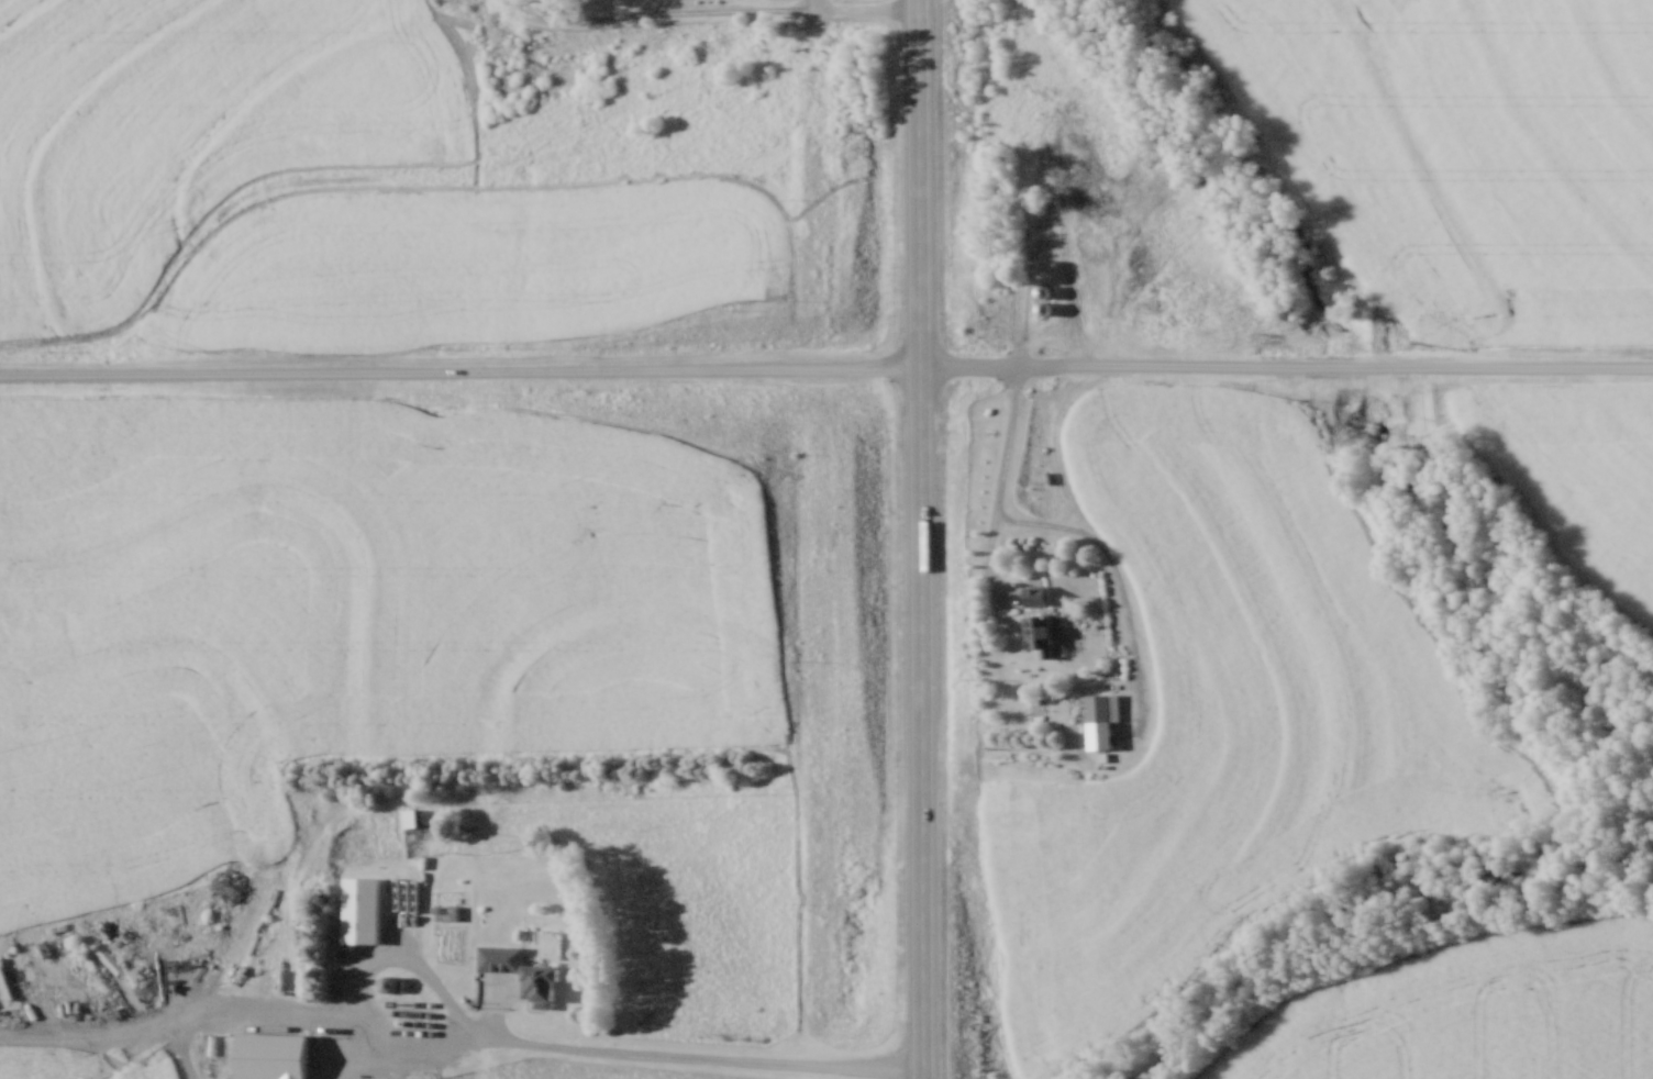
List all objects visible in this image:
road: (813, 4)
road: (866, 8)
road: (662, 14)
road: (919, 181)
building: (1041, 292)
road: (1287, 365)
road: (461, 370)
road: (1000, 481)
building: (1033, 594)
building: (1036, 633)
building: (1096, 707)
road: (921, 721)
building: (359, 909)
building: (102, 957)
building: (537, 985)
road: (178, 1015)
road: (434, 1038)
road: (603, 1050)

